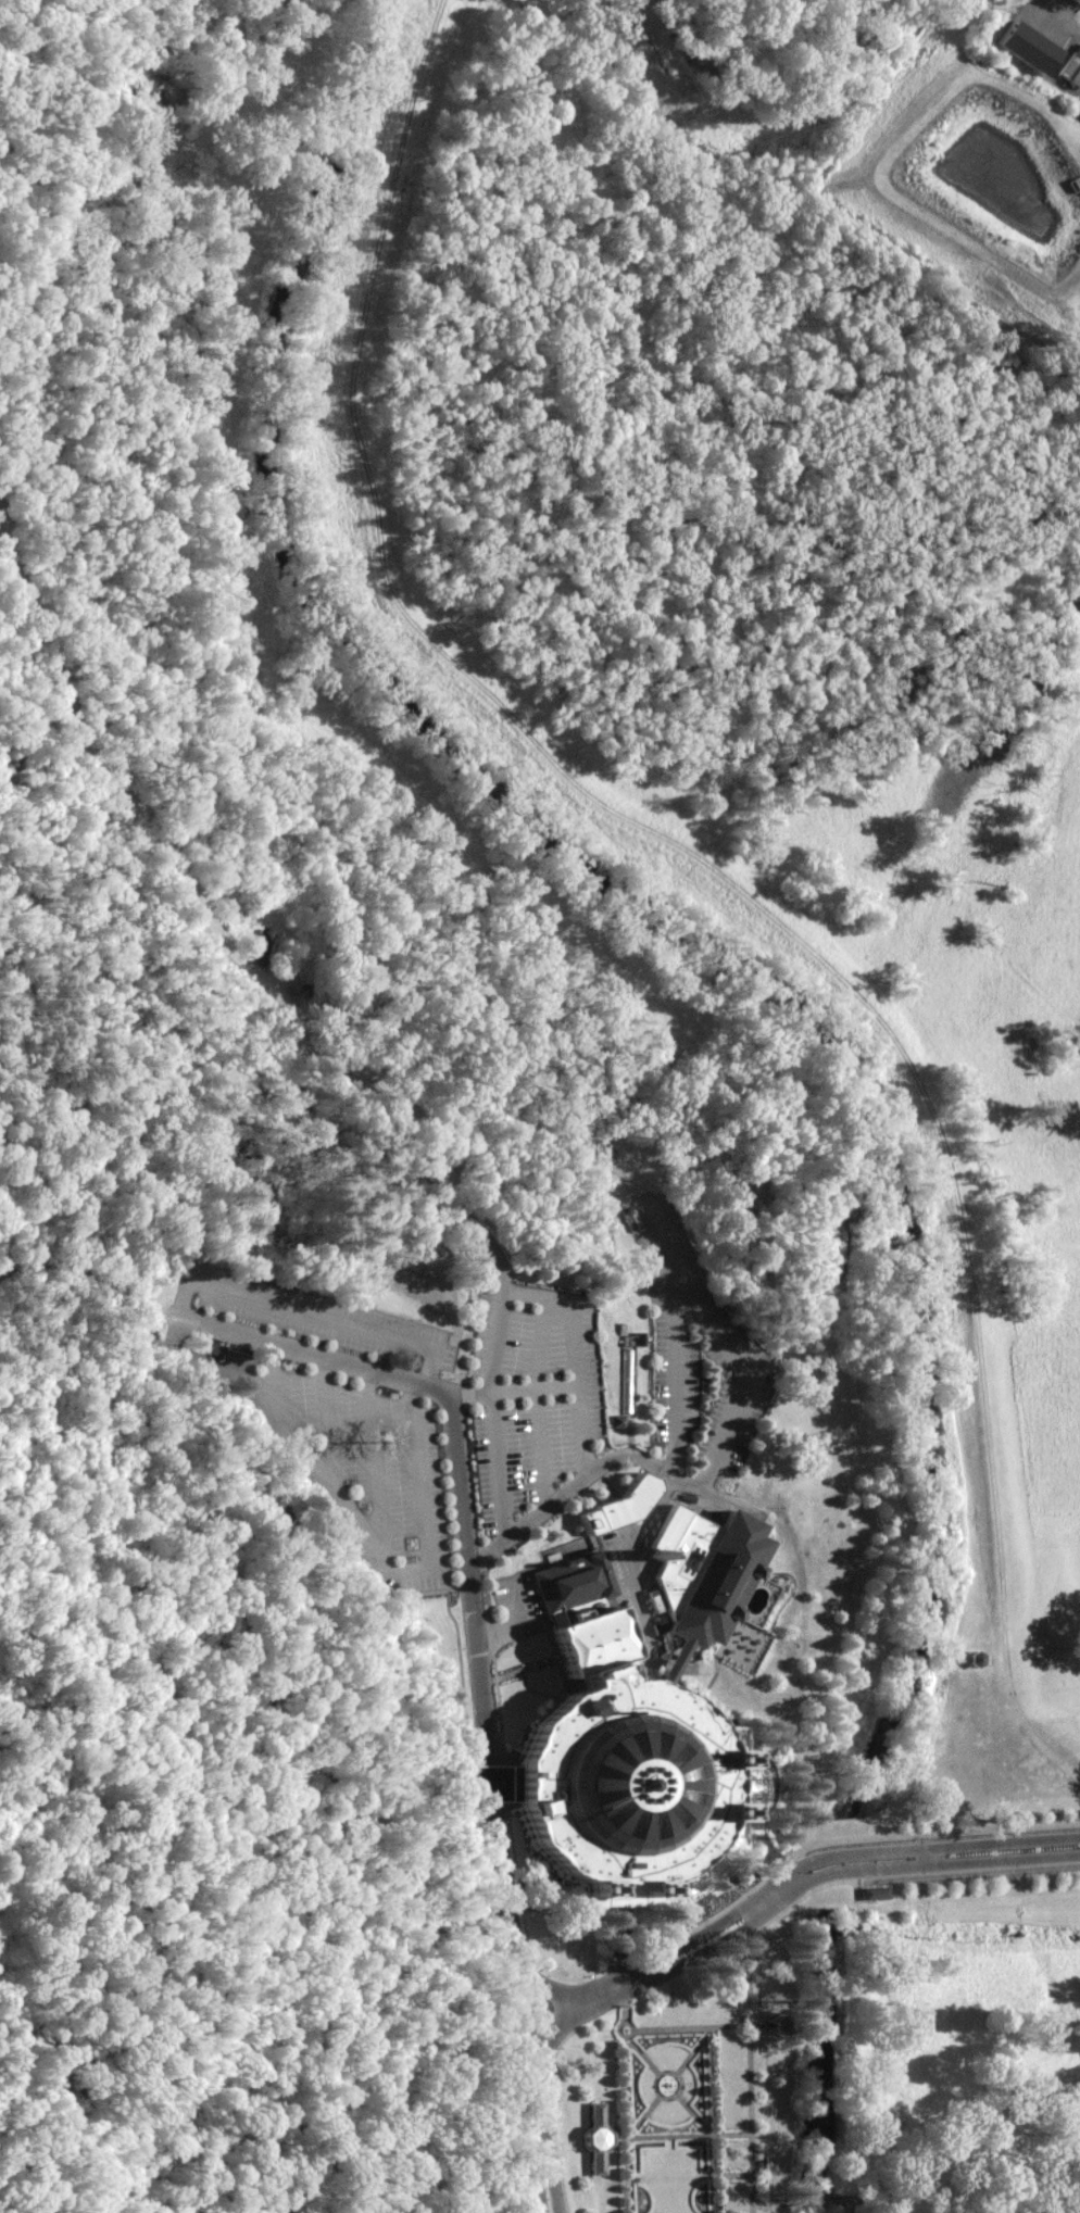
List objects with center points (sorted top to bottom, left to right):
building: (1042, 53)
road: (285, 1006)
river: (730, 1040)
parking lot: (472, 1391)
building: (551, 1556)
building: (718, 1581)
building: (734, 1743)
road: (493, 1748)
building: (626, 1748)
building: (737, 1797)
road: (784, 1883)
railway: (1037, 1889)
building: (787, 2024)
road: (690, 2027)
road: (691, 2055)
road: (755, 2057)
road: (642, 2062)
road: (654, 2087)
road: (627, 2096)
road: (695, 2116)
road: (712, 2120)
road: (644, 2121)
road: (541, 2128)
road: (693, 2136)
building: (600, 2150)

